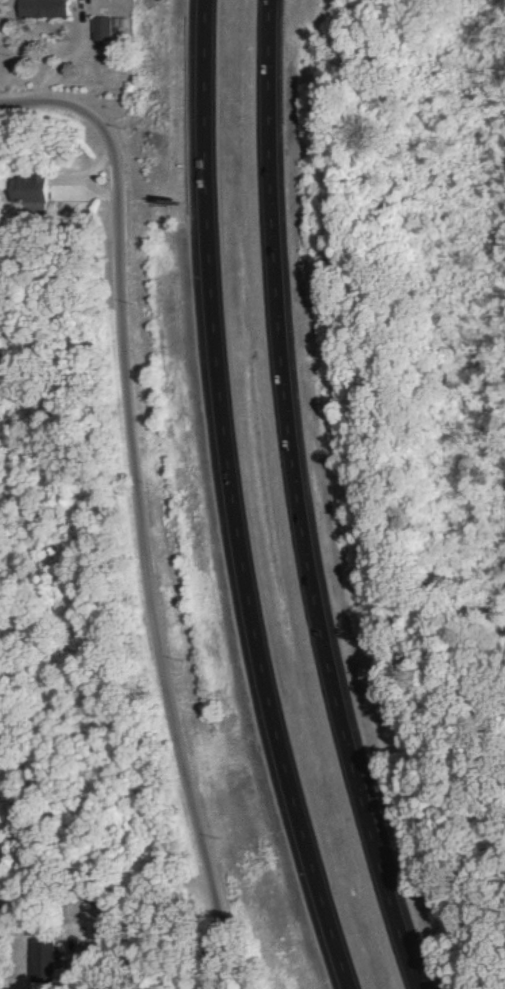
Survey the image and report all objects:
building: (44, 8)
building: (101, 28)
road: (5, 109)
road: (66, 179)
road: (80, 179)
building: (30, 188)
road: (228, 500)
road: (293, 501)
road: (134, 513)
road: (126, 957)
building: (43, 961)
road: (209, 975)

